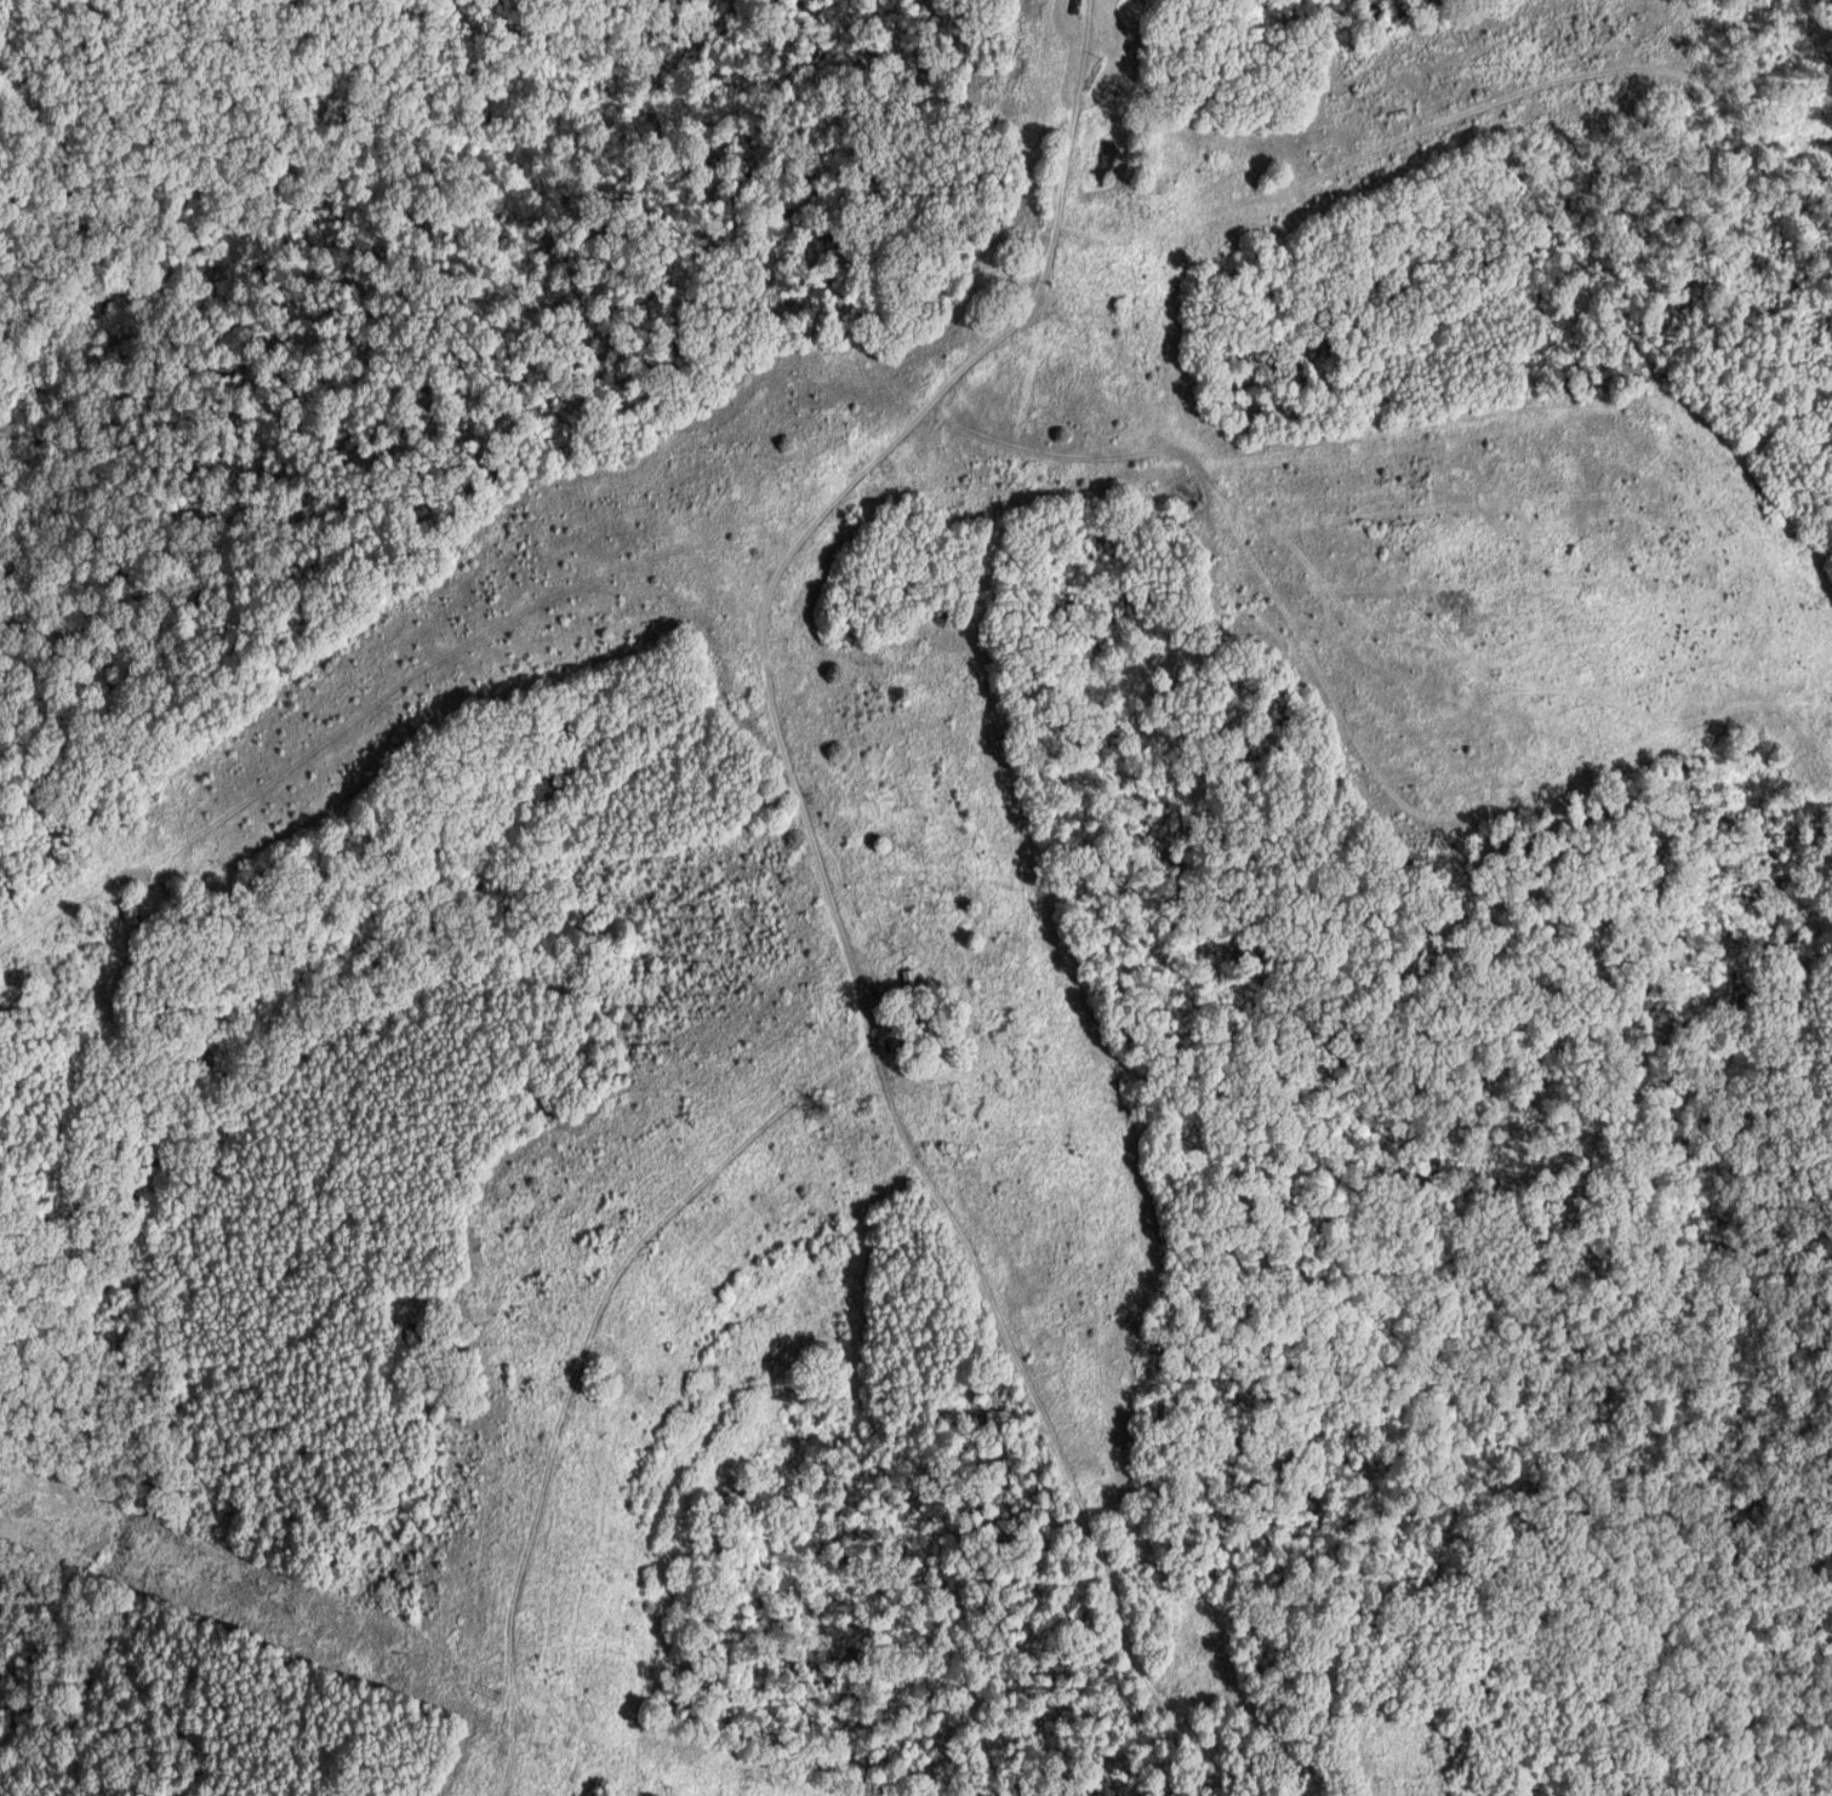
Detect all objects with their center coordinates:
road: (880, 463)
road: (576, 1329)
power tower: (498, 1694)

